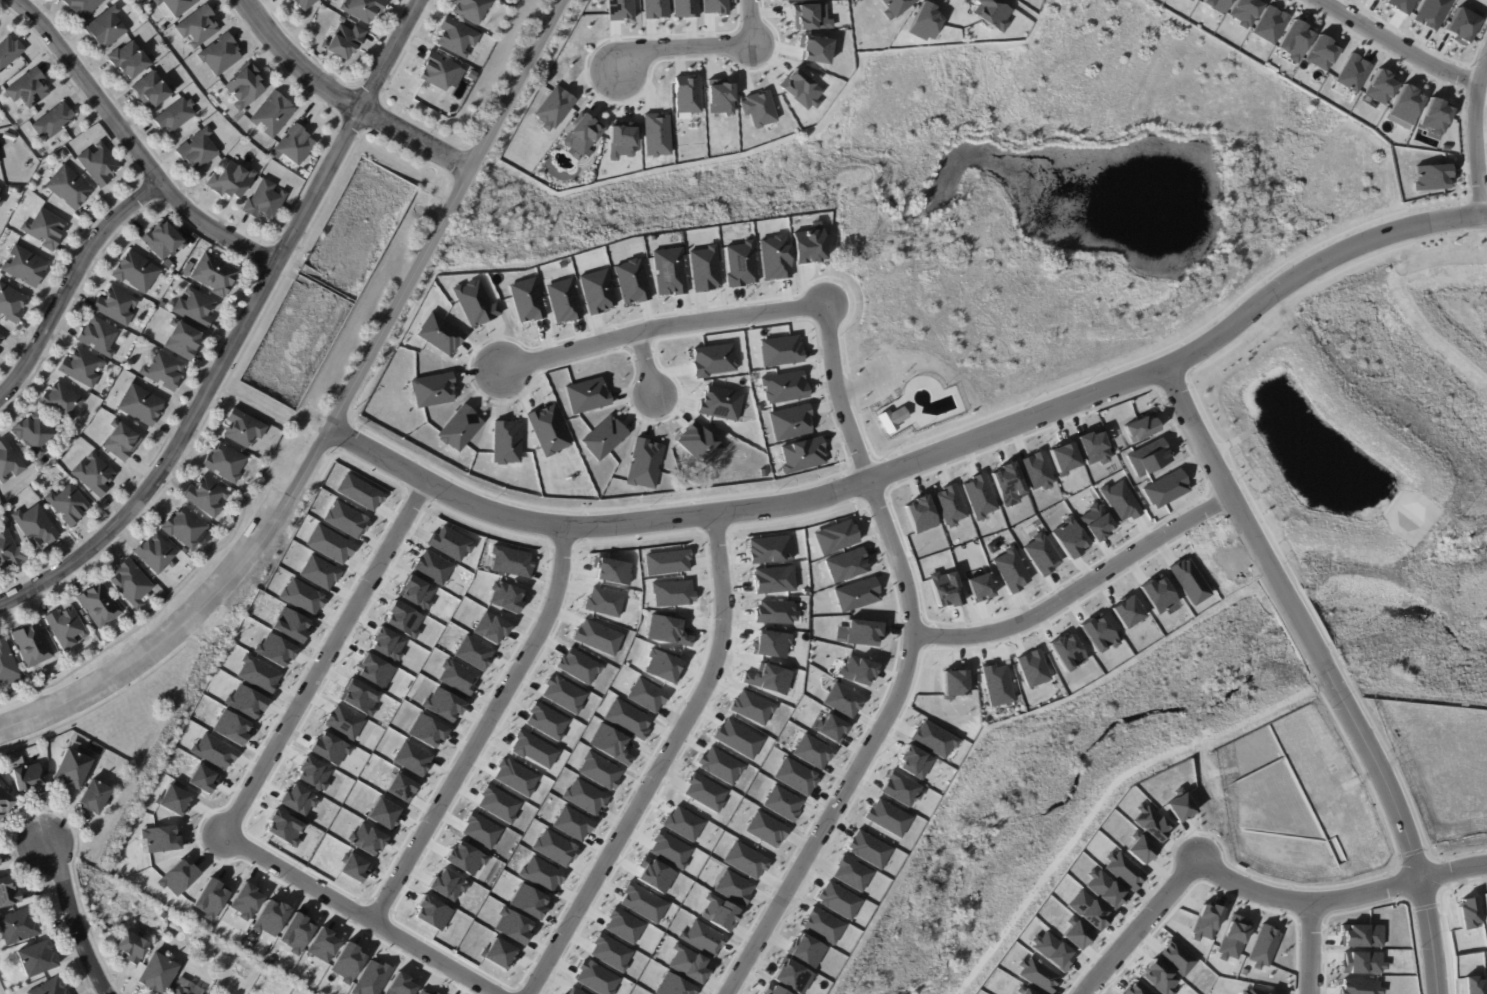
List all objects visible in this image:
building: (287, 0)
building: (784, 0)
building: (1190, 0)
building: (1193, 0)
building: (1378, 0)
building: (1380, 0)
building: (139, 1)
building: (305, 4)
building: (1217, 5)
building: (1401, 5)
building: (178, 6)
building: (713, 6)
building: (84, 7)
building: (892, 7)
building: (684, 8)
building: (364, 9)
building: (618, 9)
building: (653, 9)
building: (473, 10)
building: (1245, 11)
building: (991, 13)
building: (1432, 13)
building: (808, 16)
building: (342, 21)
road: (751, 22)
building: (923, 22)
building: (1270, 24)
building: (1463, 25)
building: (198, 27)
building: (106, 29)
road: (1046, 36)
building: (459, 39)
building: (1296, 40)
building: (343, 42)
road: (1396, 44)
road: (683, 47)
building: (812, 48)
building: (1322, 52)
building: (10, 54)
building: (221, 55)
building: (131, 61)
building: (1352, 72)
building: (442, 73)
building: (473, 76)
road: (540, 79)
road: (1117, 83)
building: (1381, 86)
building: (247, 88)
building: (799, 88)
building: (30, 90)
building: (153, 92)
building: (685, 94)
building: (718, 96)
road: (342, 98)
building: (1407, 104)
building: (552, 107)
building: (757, 108)
building: (275, 115)
building: (1436, 115)
building: (176, 117)
road: (1072, 118)
building: (55, 122)
road: (1235, 128)
building: (580, 133)
building: (654, 134)
building: (29, 135)
road: (1475, 135)
road: (929, 136)
building: (620, 139)
road: (131, 146)
building: (297, 147)
building: (199, 151)
building: (63, 156)
building: (100, 166)
road: (1367, 170)
building: (1430, 177)
building: (233, 182)
road: (611, 182)
road: (1319, 182)
building: (71, 189)
road: (717, 198)
park: (1005, 201)
building: (266, 202)
building: (1, 203)
road: (466, 213)
road: (463, 215)
building: (46, 229)
road: (586, 237)
building: (164, 244)
building: (808, 245)
building: (197, 252)
building: (774, 257)
road: (873, 261)
building: (739, 263)
building: (26, 267)
road: (1026, 267)
building: (703, 268)
building: (189, 270)
building: (137, 272)
building: (668, 272)
building: (216, 276)
building: (631, 281)
road: (71, 283)
building: (596, 290)
building: (526, 300)
building: (562, 301)
building: (474, 303)
building: (11, 304)
building: (116, 306)
building: (196, 310)
road: (662, 327)
road: (239, 330)
road: (1165, 331)
building: (438, 333)
building: (99, 338)
building: (1, 339)
building: (183, 342)
building: (0, 344)
road: (388, 349)
building: (780, 350)
building: (713, 359)
road: (644, 365)
road: (1167, 367)
building: (82, 369)
road: (894, 369)
building: (164, 373)
parking lot: (878, 376)
building: (783, 387)
road: (852, 387)
building: (431, 390)
building: (585, 395)
building: (719, 402)
building: (63, 404)
building: (141, 407)
road: (328, 410)
building: (891, 418)
building: (789, 423)
building: (459, 427)
building: (1140, 428)
building: (547, 429)
building: (245, 431)
building: (34, 434)
building: (603, 436)
building: (505, 441)
building: (121, 443)
building: (698, 444)
building: (1093, 447)
building: (802, 454)
building: (1064, 457)
building: (1148, 457)
building: (9, 462)
building: (643, 463)
building: (226, 465)
road: (1220, 470)
building: (1035, 471)
building: (762, 472)
building: (95, 477)
building: (1007, 484)
building: (1165, 488)
building: (358, 492)
building: (979, 496)
building: (207, 498)
building: (1119, 501)
building: (948, 505)
building: (69, 507)
building: (920, 514)
building: (344, 519)
building: (1096, 522)
building: (36, 528)
building: (186, 529)
road: (564, 530)
building: (835, 536)
building: (1069, 537)
building: (449, 543)
building: (329, 544)
building: (769, 548)
building: (10, 552)
building: (185, 552)
building: (1041, 553)
building: (156, 555)
building: (1217, 560)
building: (509, 561)
building: (666, 562)
building: (845, 565)
building: (431, 566)
building: (1011, 569)
building: (611, 570)
building: (318, 572)
building: (772, 579)
building: (1189, 581)
building: (133, 586)
road: (1079, 586)
building: (980, 587)
building: (945, 588)
building: (415, 592)
building: (671, 592)
building: (856, 594)
building: (1159, 595)
building: (300, 596)
building: (505, 596)
building: (602, 601)
building: (100, 606)
building: (774, 612)
building: (1128, 612)
building: (401, 619)
building: (91, 624)
building: (289, 625)
building: (490, 627)
building: (66, 630)
building: (666, 630)
road: (1302, 630)
building: (862, 632)
building: (1099, 633)
building: (596, 636)
building: (385, 644)
building: (771, 644)
building: (33, 647)
building: (273, 649)
building: (1067, 651)
building: (472, 652)
road: (323, 658)
building: (577, 665)
building: (7, 666)
building: (661, 666)
road: (905, 666)
building: (1033, 668)
building: (373, 670)
building: (858, 670)
building: (256, 674)
building: (456, 677)
park: (1206, 678)
building: (768, 679)
building: (955, 683)
building: (997, 684)
building: (562, 694)
building: (645, 694)
building: (357, 697)
building: (842, 700)
building: (244, 702)
building: (441, 704)
building: (751, 706)
building: (626, 718)
building: (545, 720)
building: (342, 723)
building: (231, 727)
building: (832, 728)
building: (425, 730)
road: (478, 730)
road: (1209, 736)
building: (737, 738)
building: (934, 739)
building: (610, 743)
building: (327, 749)
building: (532, 749)
building: (212, 751)
building: (812, 751)
building: (411, 758)
building: (914, 761)
building: (720, 765)
road: (660, 767)
building: (73, 769)
building: (598, 770)
building: (311, 773)
building: (514, 776)
building: (795, 776)
building: (28, 779)
building: (201, 779)
building: (399, 787)
building: (901, 789)
building: (704, 792)
building: (584, 796)
building: (98, 798)
building: (172, 799)
building: (296, 799)
building: (5, 802)
building: (782, 802)
building: (497, 803)
building: (1182, 808)
building: (382, 813)
building: (888, 817)
building: (1150, 822)
building: (571, 823)
building: (682, 823)
building: (283, 828)
building: (766, 828)
building: (479, 831)
road: (1407, 833)
building: (159, 838)
building: (366, 839)
building: (553, 847)
building: (669, 849)
building: (868, 849)
building: (1142, 849)
building: (463, 858)
building: (745, 859)
building: (0, 865)
building: (352, 867)
building: (1125, 870)
building: (540, 873)
building: (851, 873)
building: (655, 876)
building: (177, 877)
building: (446, 885)
building: (733, 887)
building: (1106, 889)
building: (9, 894)
road: (1340, 898)
building: (208, 899)
building: (838, 900)
building: (245, 901)
building: (527, 901)
building: (642, 902)
building: (1486, 902)
building: (1089, 910)
building: (1470, 912)
building: (431, 913)
building: (718, 913)
road: (359, 915)
building: (269, 918)
road: (65, 919)
road: (1141, 923)
building: (1206, 923)
building: (511, 925)
building: (623, 925)
building: (822, 925)
building: (20, 927)
building: (294, 934)
building: (1078, 935)
building: (194, 936)
building: (1362, 936)
building: (702, 938)
building: (1232, 941)
building: (321, 945)
building: (1264, 946)
building: (133, 948)
road: (1307, 949)
building: (806, 950)
building: (1054, 950)
building: (609, 952)
building: (498, 954)
building: (1177, 958)
building: (39, 959)
building: (346, 963)
building: (687, 963)
building: (1362, 963)
building: (159, 974)
building: (1037, 974)
building: (792, 976)
building: (1158, 977)
building: (370, 978)
building: (595, 978)
building: (398, 984)
building: (672, 985)
building: (1474, 985)
building: (1361, 986)
building: (182, 987)
building: (51, 988)
building: (1135, 989)
building: (776, 990)
building: (574, 991)
building: (1025, 991)
building: (1259, 991)
building: (422, 992)
building: (432, 993)

